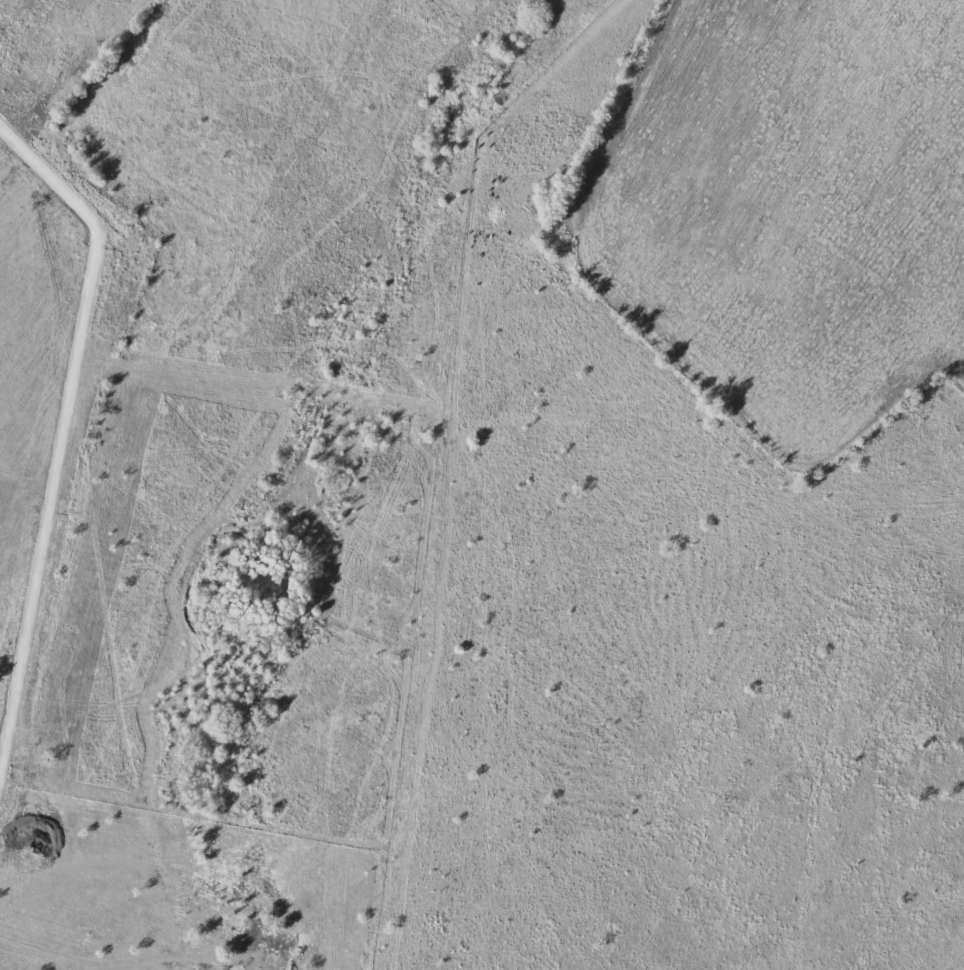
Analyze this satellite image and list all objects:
road: (208, 322)

